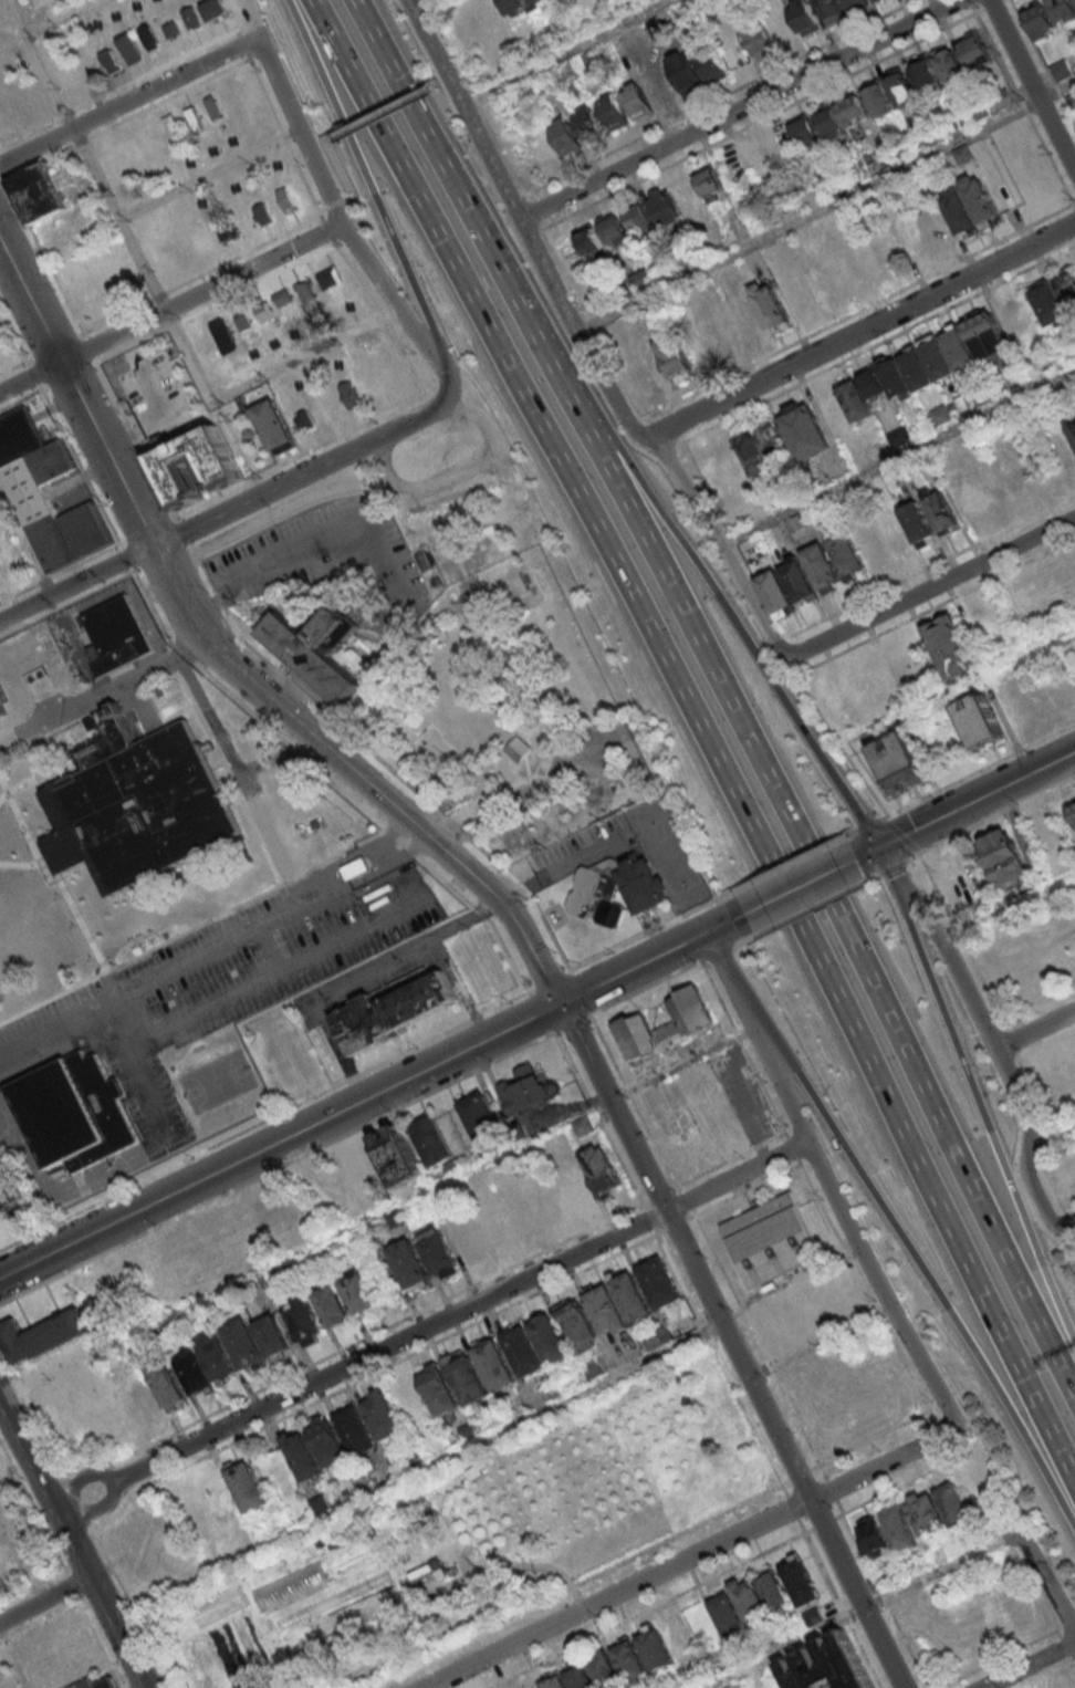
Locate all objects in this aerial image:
building: (875, 0)
building: (534, 2)
road: (971, 2)
building: (856, 3)
building: (512, 6)
building: (831, 10)
building: (1063, 10)
building: (804, 17)
road: (248, 19)
building: (1040, 20)
building: (760, 40)
building: (974, 48)
road: (570, 53)
road: (246, 59)
building: (710, 62)
road: (1043, 63)
building: (949, 64)
building: (1062, 69)
building: (685, 70)
building: (926, 73)
road: (1033, 83)
building: (901, 87)
road: (722, 97)
building: (878, 98)
road: (128, 100)
building: (637, 100)
road: (461, 101)
building: (1072, 101)
road: (1024, 105)
road: (740, 108)
road: (380, 111)
building: (854, 111)
road: (449, 112)
building: (614, 112)
road: (294, 121)
building: (831, 122)
building: (589, 124)
building: (805, 131)
building: (566, 136)
road: (79, 143)
road: (711, 144)
building: (784, 147)
building: (964, 154)
road: (35, 164)
road: (340, 166)
road: (1, 174)
road: (209, 174)
road: (483, 176)
road: (448, 177)
building: (711, 184)
road: (364, 185)
building: (36, 194)
road: (347, 198)
road: (520, 198)
building: (981, 198)
road: (510, 204)
building: (661, 204)
road: (333, 205)
road: (826, 206)
road: (321, 209)
building: (961, 209)
road: (336, 215)
building: (638, 218)
building: (614, 228)
road: (327, 229)
building: (589, 239)
road: (243, 256)
road: (44, 258)
road: (355, 275)
building: (643, 279)
road: (258, 284)
building: (1066, 289)
road: (158, 296)
road: (390, 296)
building: (1047, 303)
building: (770, 304)
road: (170, 306)
road: (114, 317)
road: (384, 317)
building: (745, 319)
road: (174, 324)
building: (721, 327)
road: (576, 330)
road: (866, 330)
building: (987, 334)
road: (807, 337)
road: (14, 338)
road: (878, 344)
road: (129, 346)
road: (54, 347)
road: (90, 348)
building: (957, 348)
building: (674, 355)
road: (189, 357)
road: (407, 358)
building: (937, 360)
building: (394, 365)
road: (15, 366)
building: (916, 369)
road: (33, 376)
road: (69, 376)
building: (370, 376)
building: (896, 379)
building: (872, 383)
road: (179, 389)
road: (148, 390)
parking lot: (154, 393)
road: (76, 396)
building: (1063, 398)
road: (23, 399)
building: (855, 400)
road: (185, 403)
building: (963, 406)
road: (177, 408)
road: (190, 414)
road: (165, 415)
building: (942, 416)
road: (182, 418)
road: (477, 419)
building: (275, 424)
road: (170, 425)
building: (1072, 425)
building: (804, 430)
road: (677, 431)
road: (132, 433)
building: (19, 437)
building: (900, 437)
road: (134, 440)
building: (754, 454)
road: (298, 457)
road: (898, 458)
road: (382, 465)
road: (80, 468)
road: (314, 468)
building: (225, 472)
road: (705, 486)
road: (327, 491)
road: (3, 503)
building: (54, 510)
building: (942, 510)
building: (916, 522)
building: (796, 524)
road: (146, 529)
road: (182, 533)
road: (733, 539)
road: (27, 543)
road: (721, 543)
road: (191, 545)
parking lot: (311, 550)
road: (196, 554)
building: (846, 554)
road: (127, 559)
road: (87, 561)
building: (821, 565)
road: (655, 566)
road: (926, 569)
building: (0, 579)
building: (797, 579)
road: (43, 582)
road: (77, 586)
road: (930, 586)
road: (761, 592)
building: (774, 592)
road: (19, 595)
road: (716, 598)
road: (67, 606)
building: (117, 635)
building: (952, 646)
building: (317, 648)
road: (1015, 654)
road: (113, 690)
building: (1019, 696)
road: (306, 699)
building: (2, 701)
road: (247, 707)
building: (979, 719)
road: (210, 721)
chimney: (95, 726)
road: (705, 738)
road: (274, 757)
building: (900, 760)
road: (977, 771)
road: (356, 777)
building: (138, 804)
building: (1072, 809)
road: (956, 811)
road: (867, 824)
road: (451, 825)
road: (839, 835)
road: (399, 844)
parking lot: (581, 846)
traffic signals: (883, 848)
building: (1073, 851)
road: (483, 855)
building: (1003, 857)
road: (791, 859)
road: (511, 879)
road: (445, 883)
building: (644, 886)
road: (800, 886)
building: (598, 894)
road: (321, 898)
road: (246, 903)
road: (479, 914)
road: (473, 916)
road: (661, 925)
road: (544, 927)
road: (269, 950)
road: (505, 957)
parking lot: (257, 959)
road: (721, 969)
road: (575, 972)
parking lot: (379, 973)
road: (159, 976)
road: (550, 982)
road: (712, 989)
road: (242, 990)
road: (583, 993)
road: (526, 994)
traffic signals: (559, 1004)
road: (313, 1007)
parking lot: (305, 1011)
building: (394, 1011)
road: (540, 1012)
road: (140, 1013)
road: (591, 1013)
building: (690, 1023)
road: (572, 1024)
road: (1034, 1029)
road: (556, 1031)
road: (1045, 1042)
road: (992, 1044)
road: (681, 1066)
parking lot: (150, 1076)
park: (217, 1082)
building: (525, 1088)
road: (382, 1091)
road: (920, 1091)
road: (975, 1101)
road: (633, 1105)
building: (73, 1111)
building: (711, 1116)
building: (481, 1117)
road: (596, 1117)
road: (267, 1118)
building: (583, 1126)
building: (431, 1139)
road: (741, 1154)
building: (397, 1155)
road: (1051, 1156)
road: (276, 1166)
building: (602, 1168)
road: (775, 1176)
building: (575, 1188)
building: (9, 1194)
road: (657, 1196)
road: (683, 1202)
road: (641, 1208)
road: (691, 1213)
road: (688, 1218)
road: (842, 1218)
road: (648, 1219)
road: (1065, 1220)
road: (674, 1226)
road: (654, 1232)
road: (659, 1233)
building: (462, 1234)
building: (770, 1238)
building: (438, 1252)
building: (409, 1264)
road: (914, 1267)
building: (658, 1281)
building: (359, 1293)
building: (630, 1296)
building: (331, 1304)
road: (739, 1309)
building: (606, 1310)
road: (460, 1311)
road: (878, 1312)
building: (303, 1319)
building: (578, 1324)
building: (272, 1334)
building: (42, 1335)
building: (655, 1337)
road: (754, 1337)
building: (549, 1338)
road: (818, 1342)
building: (244, 1344)
road: (732, 1344)
road: (353, 1345)
building: (523, 1351)
building: (217, 1356)
building: (493, 1363)
road: (388, 1365)
road: (721, 1365)
building: (592, 1367)
road: (768, 1367)
building: (195, 1372)
road: (907, 1373)
building: (467, 1379)
building: (166, 1382)
building: (439, 1390)
road: (691, 1406)
building: (384, 1414)
road: (799, 1428)
building: (467, 1429)
building: (356, 1430)
road: (939, 1430)
building: (327, 1440)
road: (868, 1441)
building: (302, 1455)
road: (417, 1473)
road: (797, 1476)
road: (115, 1482)
road: (783, 1483)
road: (901, 1484)
building: (247, 1486)
road: (831, 1491)
road: (75, 1501)
building: (952, 1503)
building: (320, 1504)
road: (791, 1508)
road: (33, 1509)
building: (926, 1513)
road: (822, 1524)
road: (800, 1527)
building: (899, 1527)
road: (90, 1529)
road: (95, 1529)
road: (674, 1535)
crop: (467, 1536)
building: (870, 1536)
road: (72, 1544)
building: (368, 1548)
road: (857, 1548)
crop: (342, 1550)
road: (688, 1557)
road: (365, 1560)
road: (533, 1563)
building: (425, 1571)
road: (823, 1573)
building: (890, 1574)
building: (800, 1580)
road: (71, 1582)
road: (117, 1583)
building: (289, 1587)
building: (772, 1588)
road: (1045, 1592)
road: (207, 1597)
road: (301, 1597)
building: (322, 1597)
road: (44, 1598)
building: (749, 1600)
road: (883, 1600)
road: (650, 1608)
road: (859, 1609)
building: (727, 1613)
road: (844, 1616)
road: (267, 1632)
road: (100, 1639)
building: (654, 1647)
road: (905, 1647)
road: (1065, 1647)
road: (358, 1649)
road: (1073, 1650)
road: (864, 1655)
road: (1002, 1658)
road: (13, 1659)
building: (629, 1659)
road: (1073, 1660)
building: (828, 1666)
road: (1029, 1668)
building: (604, 1669)
building: (577, 1676)
road: (1052, 1676)
building: (553, 1680)
building: (88, 1682)

